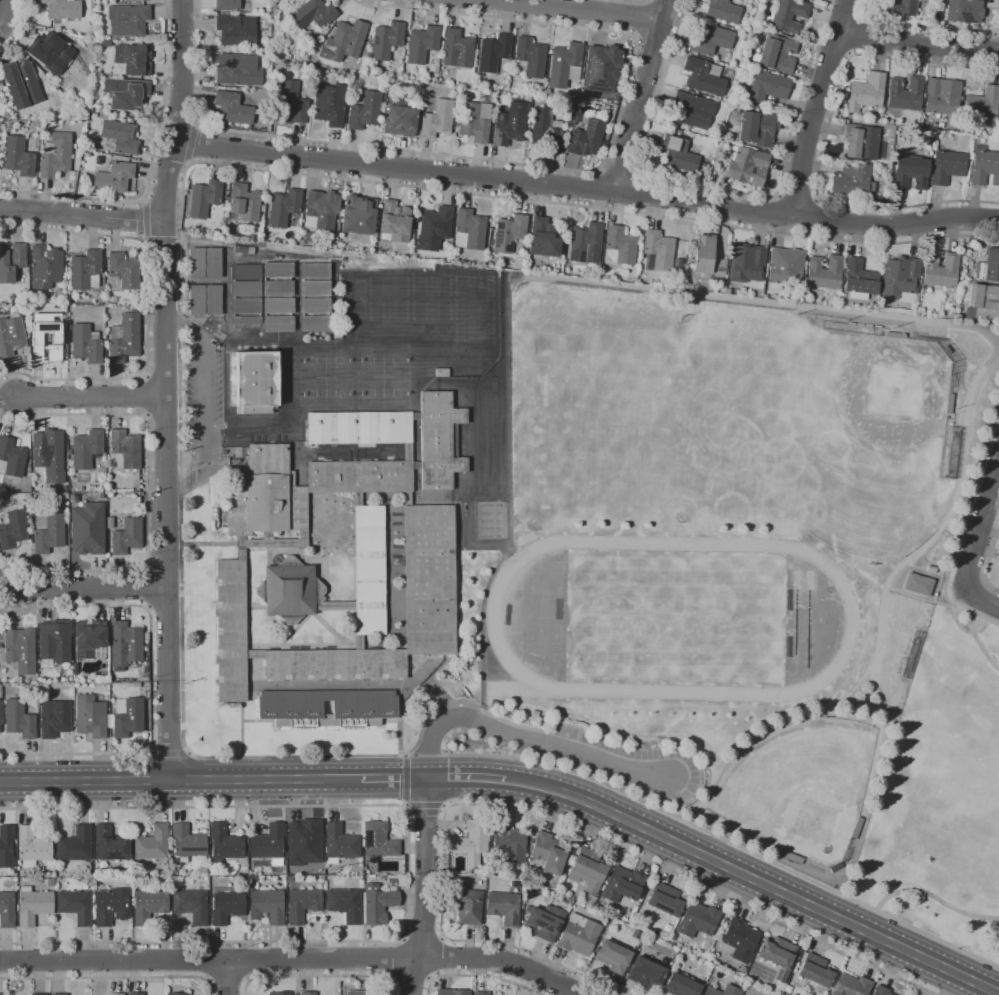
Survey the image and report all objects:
building: (117, 0)
building: (137, 0)
building: (811, 0)
road: (998, 3)
building: (227, 5)
road: (668, 6)
building: (902, 8)
building: (62, 9)
road: (576, 9)
building: (723, 11)
building: (964, 11)
building: (313, 14)
road: (2, 15)
building: (786, 16)
road: (863, 17)
road: (641, 19)
building: (127, 20)
road: (929, 27)
road: (18, 29)
building: (236, 30)
building: (62, 35)
road: (855, 35)
building: (710, 39)
building: (386, 40)
building: (344, 41)
road: (653, 41)
building: (422, 44)
road: (918, 44)
building: (458, 49)
building: (50, 51)
building: (493, 53)
building: (776, 54)
road: (850, 54)
building: (530, 56)
building: (287, 57)
building: (133, 59)
building: (565, 65)
building: (602, 68)
building: (237, 70)
building: (277, 72)
building: (703, 76)
building: (345, 78)
building: (332, 79)
building: (318, 80)
building: (21, 83)
building: (766, 86)
building: (866, 92)
building: (905, 93)
building: (125, 94)
road: (639, 96)
building: (528, 97)
building: (942, 97)
building: (291, 104)
building: (330, 105)
building: (982, 105)
road: (815, 107)
building: (232, 109)
building: (692, 110)
building: (365, 111)
building: (572, 118)
building: (437, 119)
building: (998, 119)
building: (400, 121)
building: (475, 121)
building: (510, 124)
building: (9, 126)
building: (758, 128)
building: (546, 130)
building: (989, 132)
building: (120, 137)
building: (586, 138)
building: (860, 141)
road: (823, 142)
building: (602, 145)
building: (55, 155)
building: (679, 155)
building: (18, 157)
building: (748, 166)
building: (984, 166)
road: (545, 167)
building: (947, 167)
road: (619, 171)
road: (151, 172)
building: (909, 173)
building: (114, 178)
building: (852, 181)
road: (720, 187)
road: (586, 189)
road: (797, 195)
building: (204, 199)
building: (881, 199)
building: (244, 202)
building: (284, 207)
building: (321, 210)
road: (81, 213)
building: (358, 215)
road: (141, 221)
building: (394, 222)
building: (219, 228)
building: (434, 228)
building: (469, 230)
building: (509, 233)
road: (160, 237)
building: (307, 237)
building: (544, 238)
building: (585, 244)
building: (620, 246)
building: (658, 252)
building: (707, 259)
building: (11, 261)
building: (523, 262)
building: (195, 263)
building: (212, 263)
building: (747, 263)
building: (678, 266)
building: (989, 266)
building: (45, 267)
building: (785, 269)
building: (124, 270)
building: (278, 270)
building: (941, 270)
building: (86, 271)
building: (315, 271)
building: (824, 272)
building: (900, 279)
building: (859, 280)
building: (277, 288)
building: (314, 288)
building: (246, 289)
building: (212, 299)
building: (195, 300)
building: (982, 302)
building: (314, 305)
building: (246, 306)
building: (278, 306)
road: (147, 309)
building: (246, 320)
building: (315, 323)
building: (279, 324)
building: (68, 327)
building: (895, 335)
building: (11, 336)
building: (124, 337)
building: (46, 338)
building: (86, 344)
park: (382, 358)
park: (325, 359)
building: (257, 381)
road: (165, 389)
park: (325, 392)
park: (383, 392)
parking lot: (204, 395)
road: (93, 396)
park: (882, 401)
road: (206, 403)
building: (949, 404)
road: (162, 414)
park: (594, 414)
building: (416, 416)
park: (742, 423)
building: (359, 428)
building: (440, 440)
building: (86, 449)
building: (124, 450)
building: (408, 452)
building: (954, 453)
building: (49, 454)
building: (11, 458)
building: (416, 465)
building: (359, 477)
road: (180, 478)
road: (149, 493)
building: (267, 494)
building: (357, 499)
building: (407, 499)
building: (109, 524)
road: (961, 528)
building: (87, 529)
building: (13, 530)
building: (48, 532)
building: (126, 537)
building: (270, 543)
road: (975, 544)
road: (989, 563)
road: (163, 569)
building: (931, 569)
building: (369, 570)
building: (428, 580)
building: (998, 581)
building: (918, 584)
building: (289, 589)
road: (95, 590)
park: (795, 603)
road: (164, 605)
building: (335, 606)
park: (808, 609)
track: (491, 618)
park: (675, 618)
building: (231, 631)
building: (90, 639)
building: (55, 641)
building: (359, 642)
road: (978, 643)
building: (125, 645)
building: (21, 649)
building: (255, 654)
building: (912, 655)
building: (335, 665)
building: (75, 669)
road: (150, 678)
building: (63, 679)
road: (873, 680)
building: (136, 684)
building: (0, 687)
building: (146, 695)
building: (365, 708)
building: (1, 712)
building: (91, 716)
building: (126, 717)
building: (54, 718)
building: (18, 719)
road: (794, 719)
road: (529, 736)
parking lot: (617, 762)
road: (394, 778)
road: (467, 778)
road: (180, 779)
road: (405, 782)
park: (797, 786)
park: (940, 793)
road: (425, 807)
road: (548, 818)
building: (855, 827)
building: (188, 841)
building: (304, 842)
building: (378, 842)
building: (153, 843)
building: (224, 843)
building: (472, 843)
building: (110, 844)
building: (268, 844)
building: (340, 844)
building: (75, 845)
building: (508, 845)
building: (6, 846)
building: (33, 847)
building: (548, 853)
building: (790, 857)
building: (836, 867)
building: (202, 870)
building: (588, 870)
road: (407, 871)
building: (252, 878)
road: (754, 879)
building: (124, 880)
building: (50, 882)
building: (514, 885)
building: (622, 885)
road: (426, 887)
road: (933, 898)
building: (380, 900)
building: (569, 900)
building: (664, 900)
building: (303, 904)
building: (345, 904)
building: (267, 905)
building: (33, 906)
building: (76, 906)
building: (112, 906)
building: (149, 906)
building: (191, 906)
building: (468, 906)
building: (226, 907)
building: (503, 908)
building: (7, 910)
building: (697, 920)
building: (545, 922)
building: (578, 935)
building: (672, 936)
road: (423, 937)
building: (738, 940)
road: (443, 956)
building: (613, 957)
road: (397, 958)
building: (778, 958)
road: (294, 959)
road: (207, 960)
road: (248, 960)
building: (742, 969)
building: (815, 971)
building: (645, 973)
road: (227, 977)
road: (320, 977)
road: (481, 977)
road: (111, 978)
road: (412, 979)
road: (227, 980)
building: (850, 985)
building: (680, 986)
building: (723, 991)
building: (881, 991)
building: (452, 992)
building: (179, 993)
building: (278, 993)
building: (308, 993)
building: (357, 993)
building: (481, 993)
building: (0, 994)
building: (39, 994)
building: (60, 994)
building: (116, 994)
building: (135, 994)

